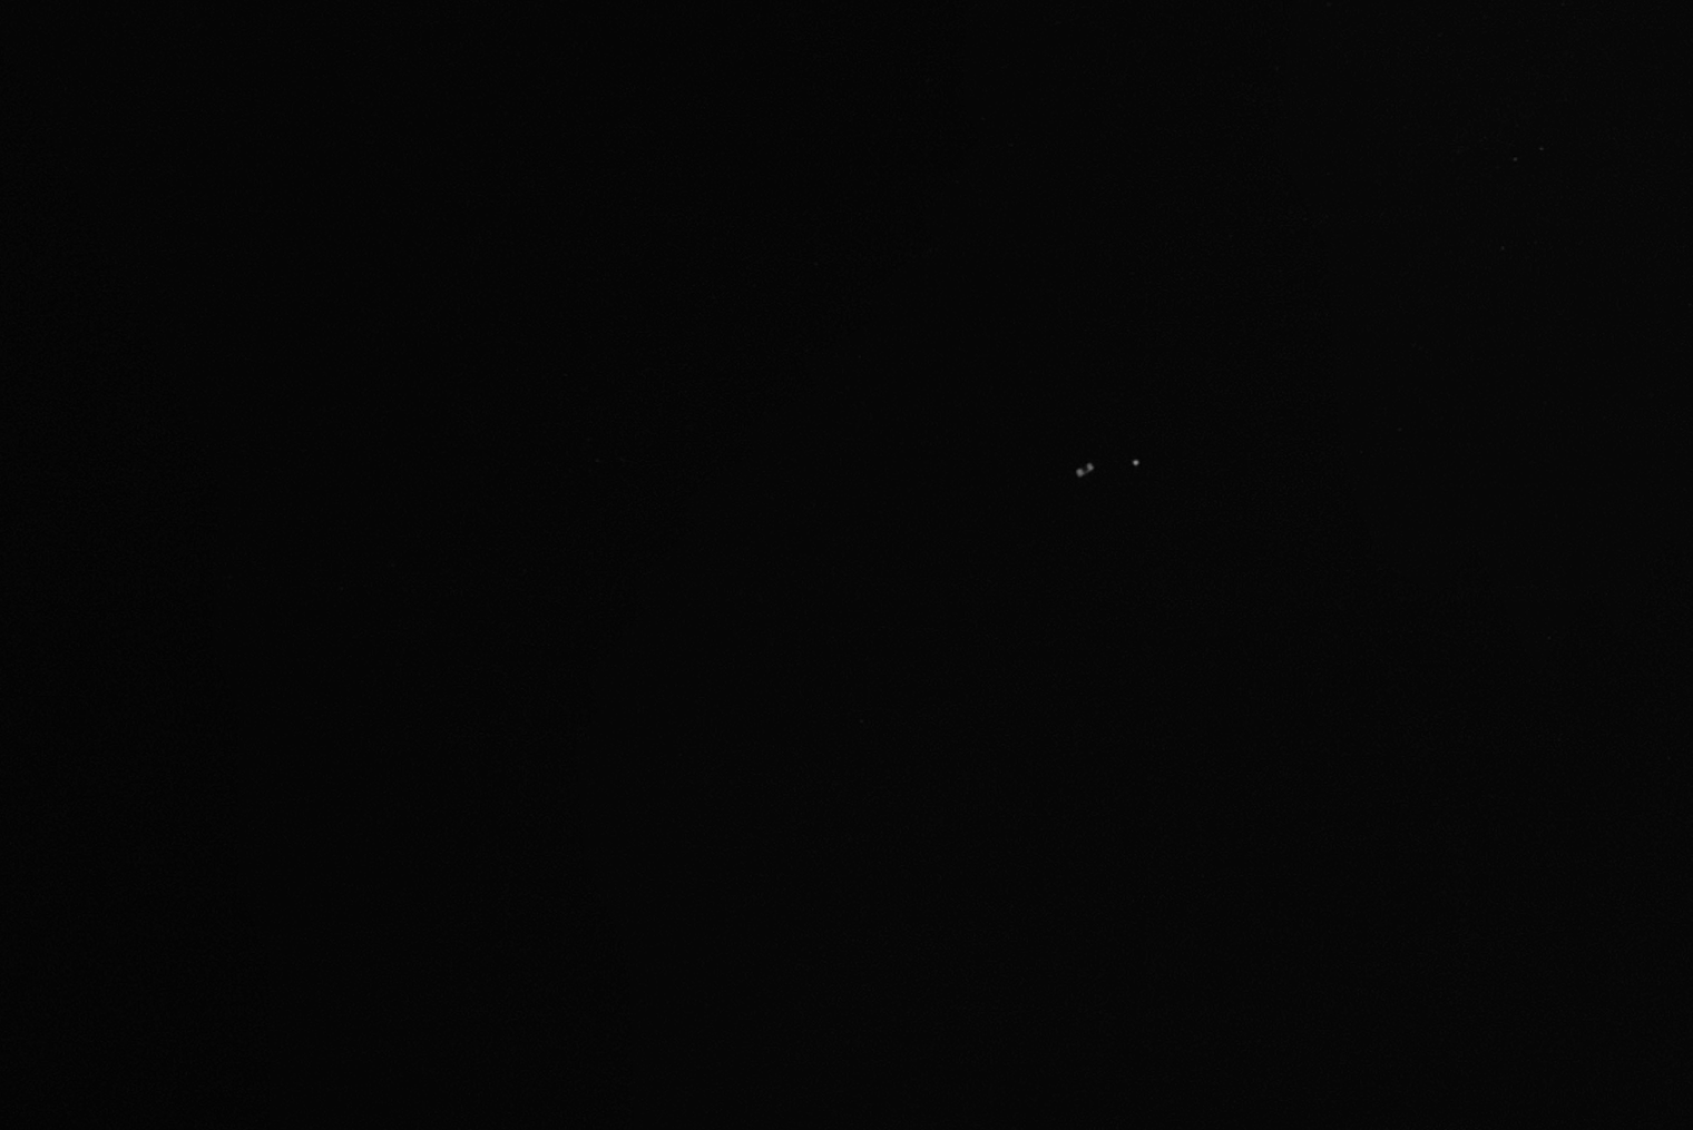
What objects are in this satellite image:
river: (1495, 785)

